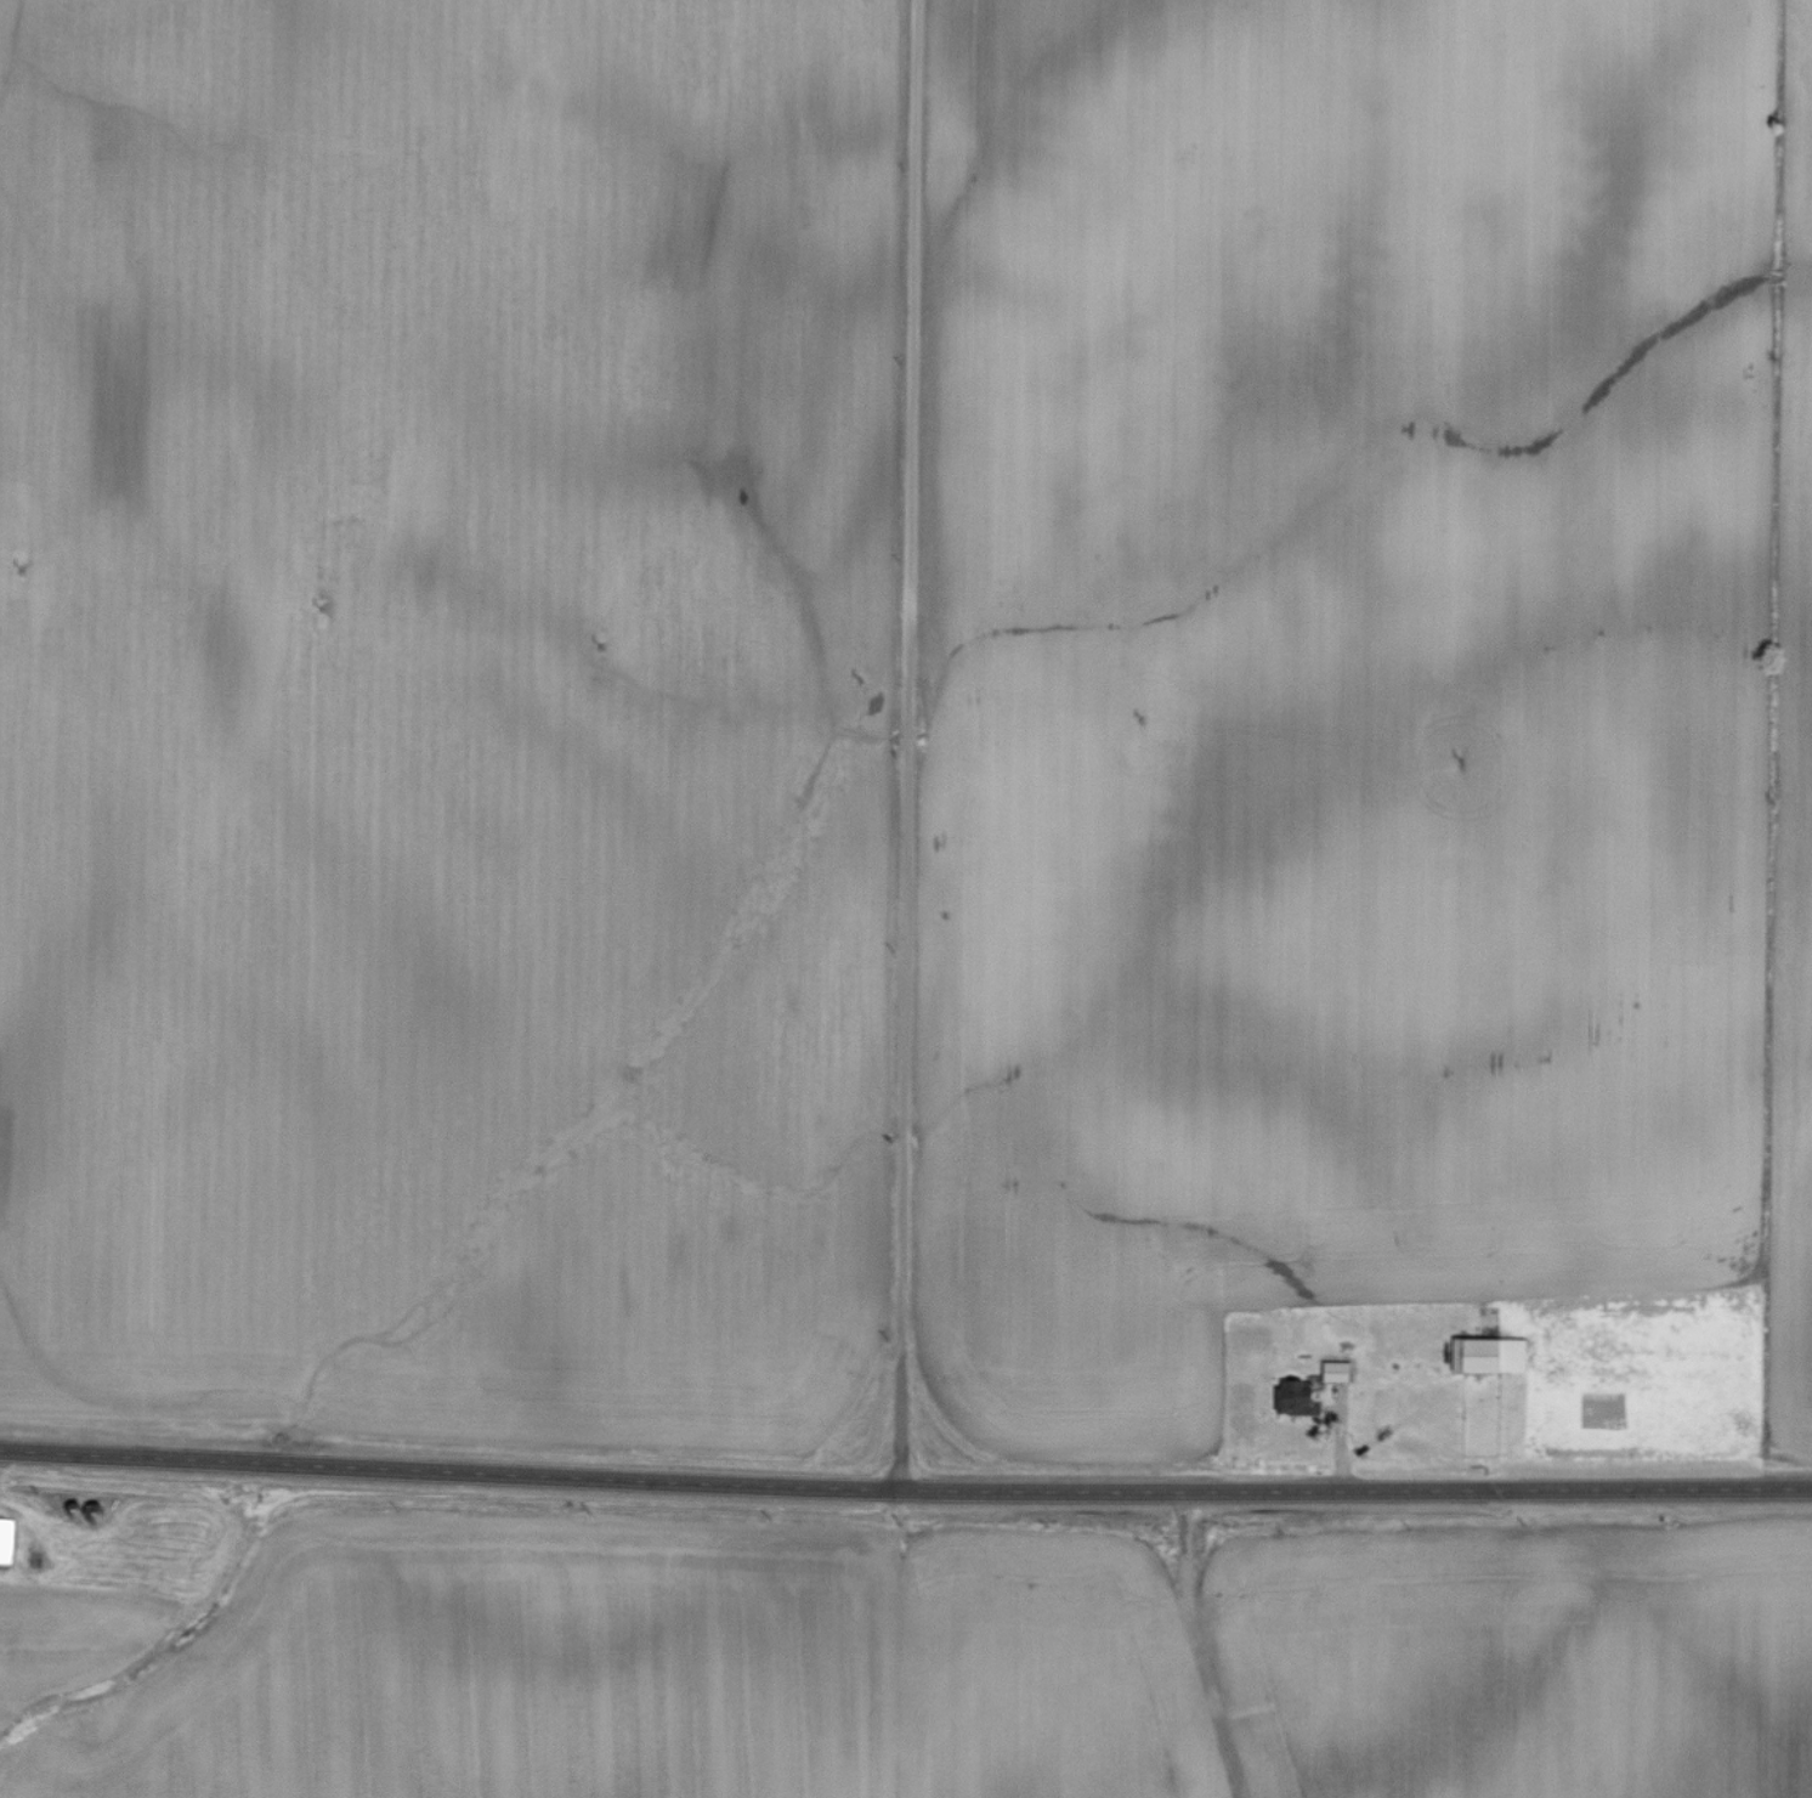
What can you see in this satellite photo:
road: (911, 746)
building: (1336, 1370)
road: (905, 1492)
building: (6, 1539)

